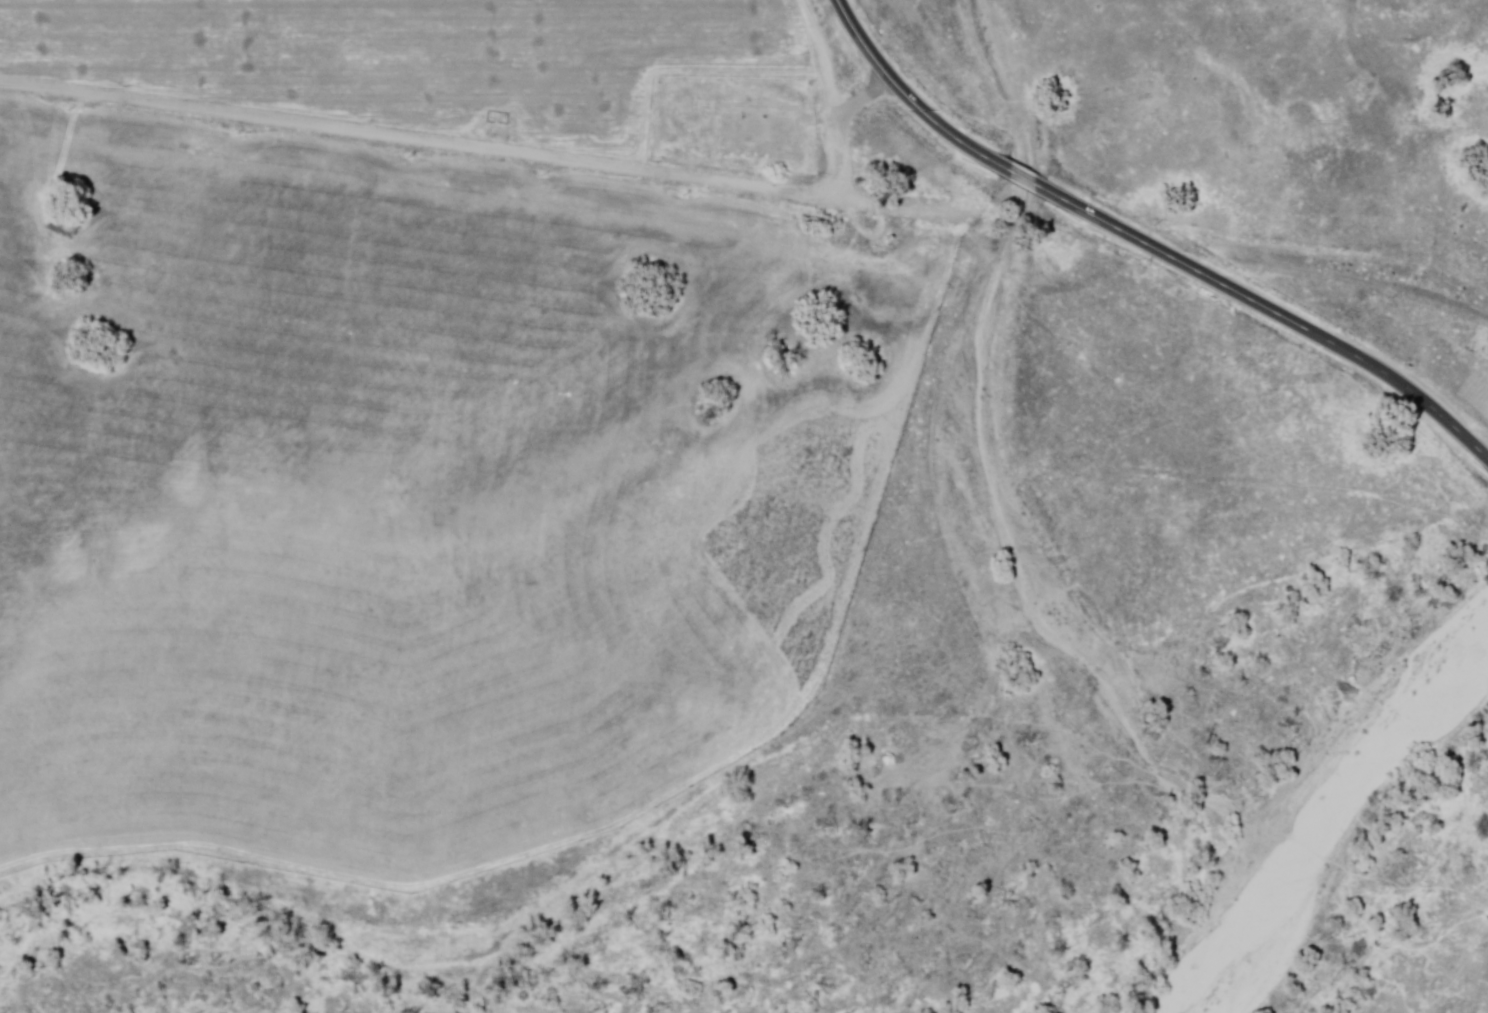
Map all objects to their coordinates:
road: (907, 100)
building: (743, 133)
road: (482, 147)
road: (1023, 179)
road: (1270, 314)
crop: (413, 498)
river: (1314, 800)

